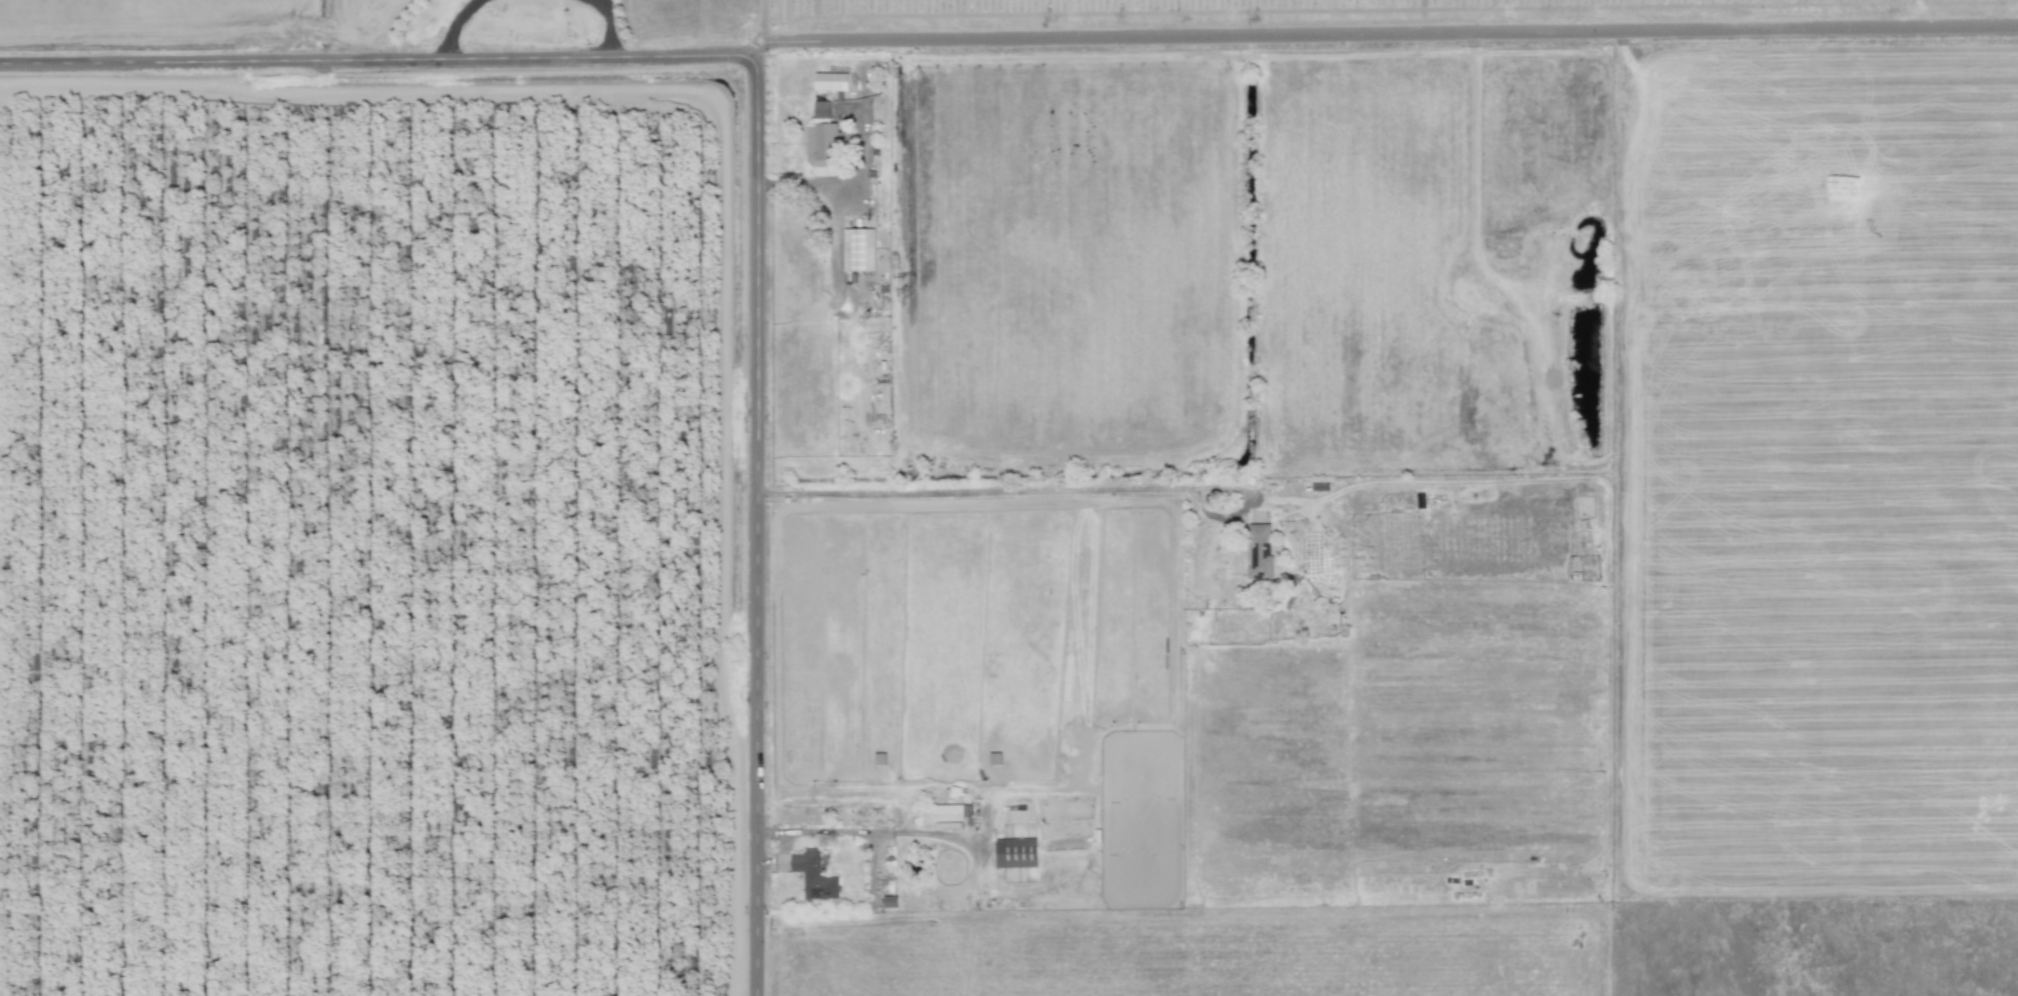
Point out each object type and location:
road: (600, 6)
road: (456, 26)
road: (760, 27)
road: (607, 28)
road: (1388, 42)
road: (379, 59)
building: (831, 81)
building: (823, 137)
building: (859, 249)
road: (1046, 481)
road: (758, 525)
building: (1260, 551)
building: (947, 812)
building: (1016, 852)
building: (814, 875)

